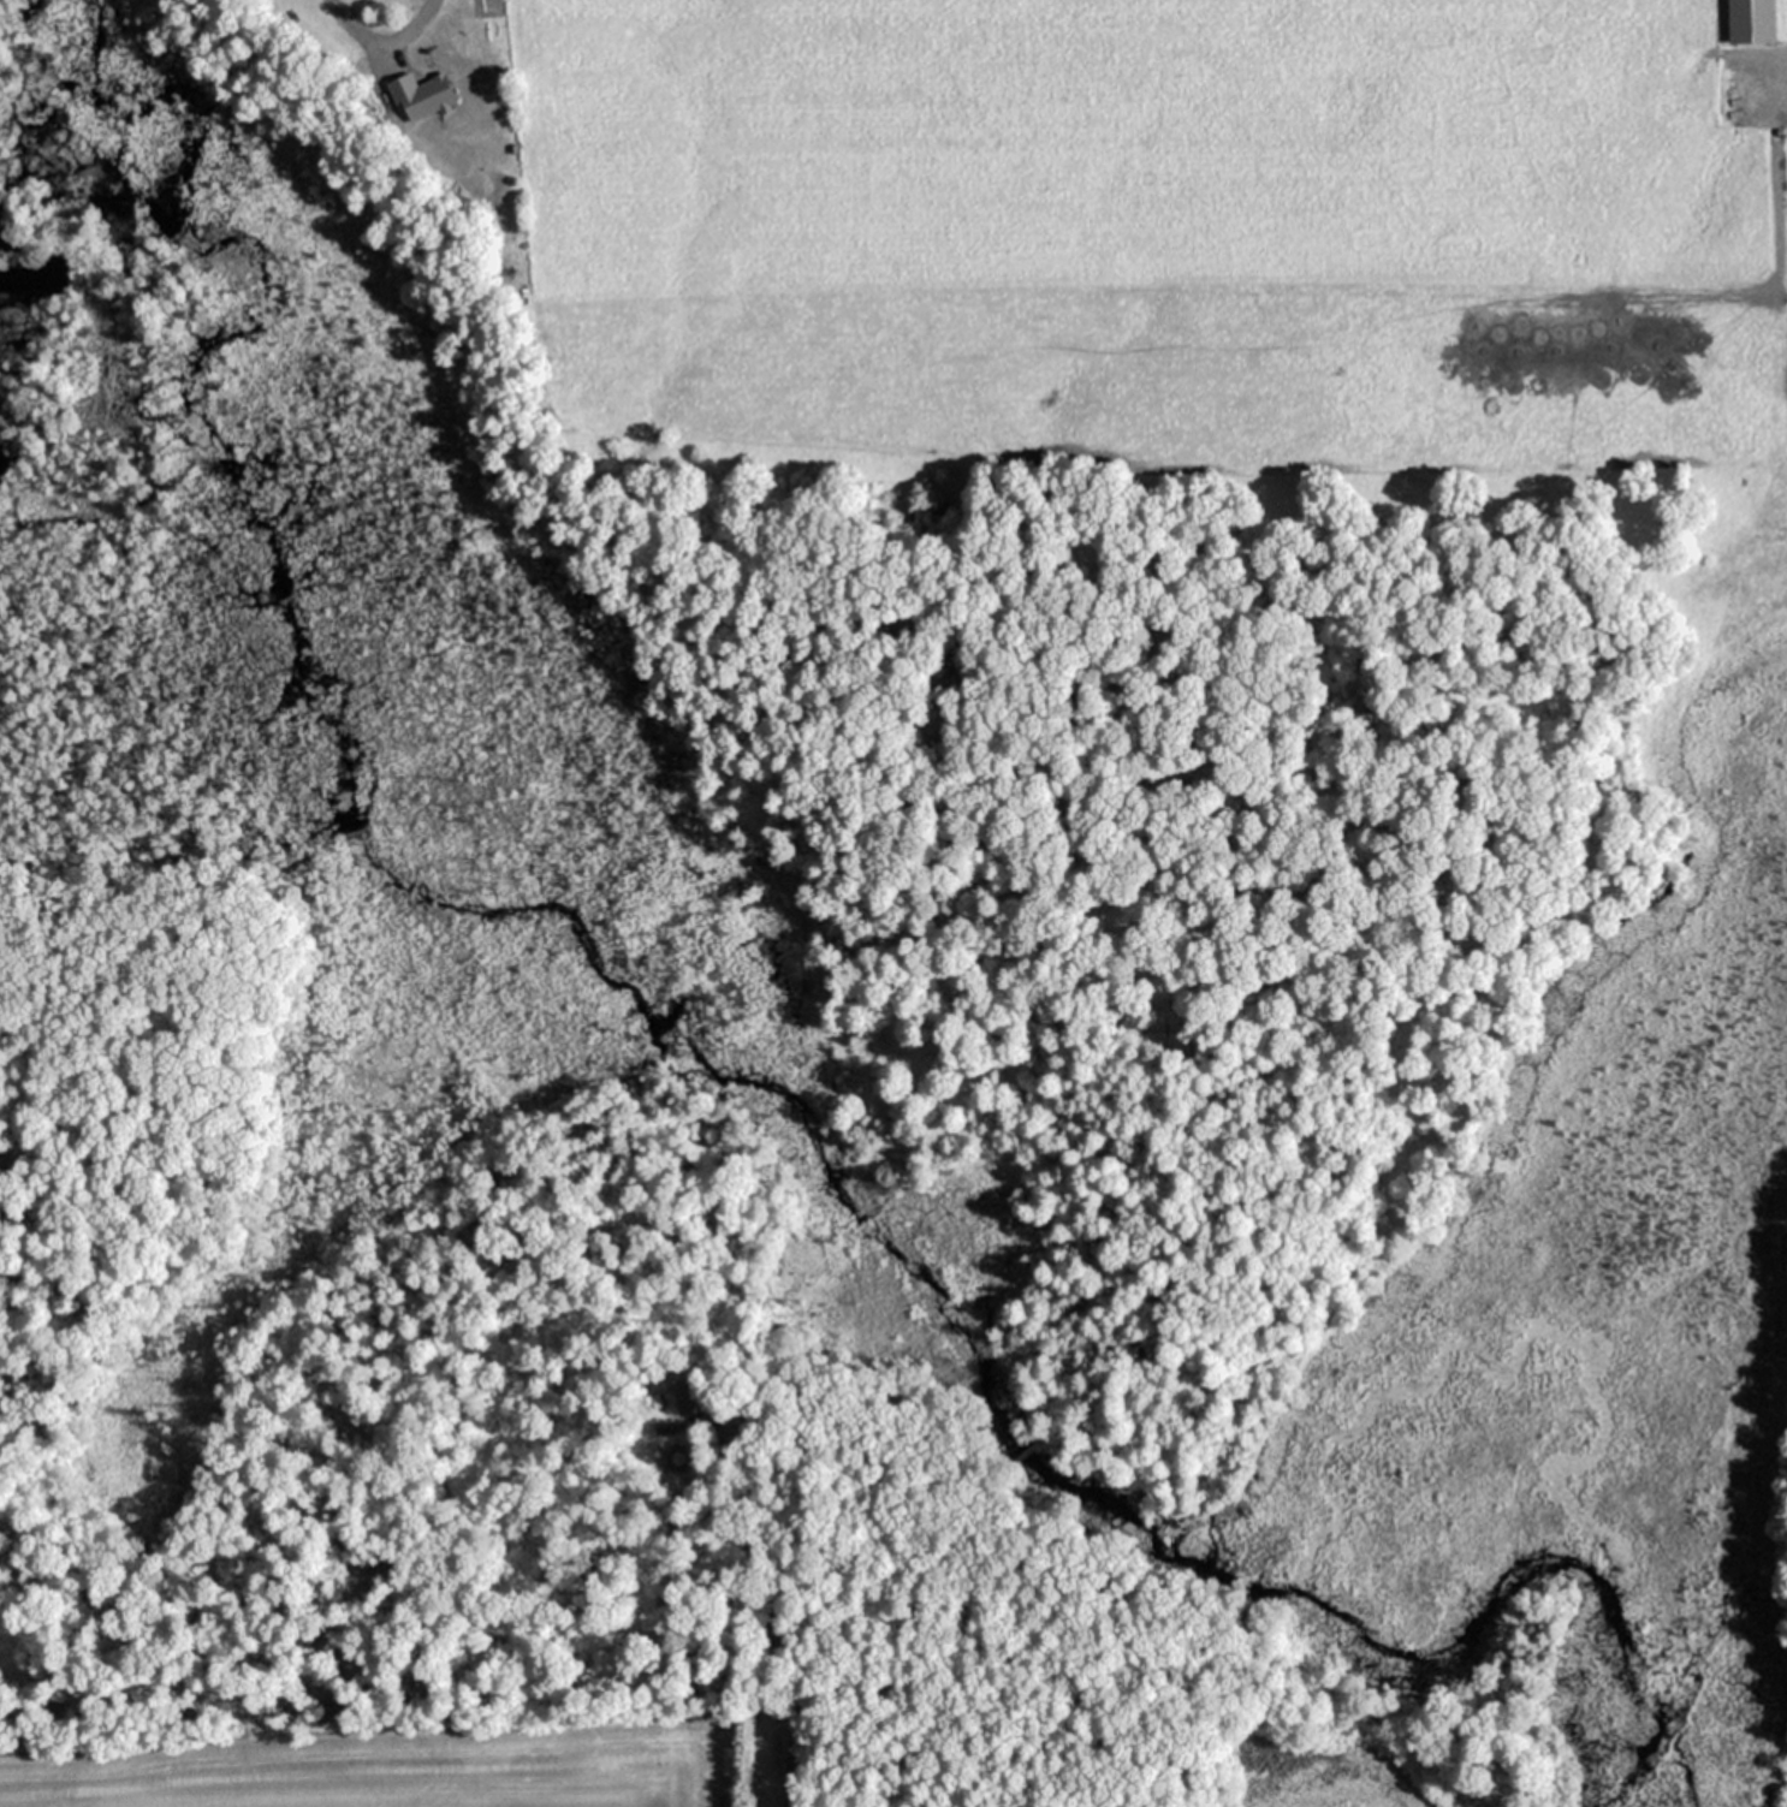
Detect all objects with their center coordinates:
building: (1763, 73)

